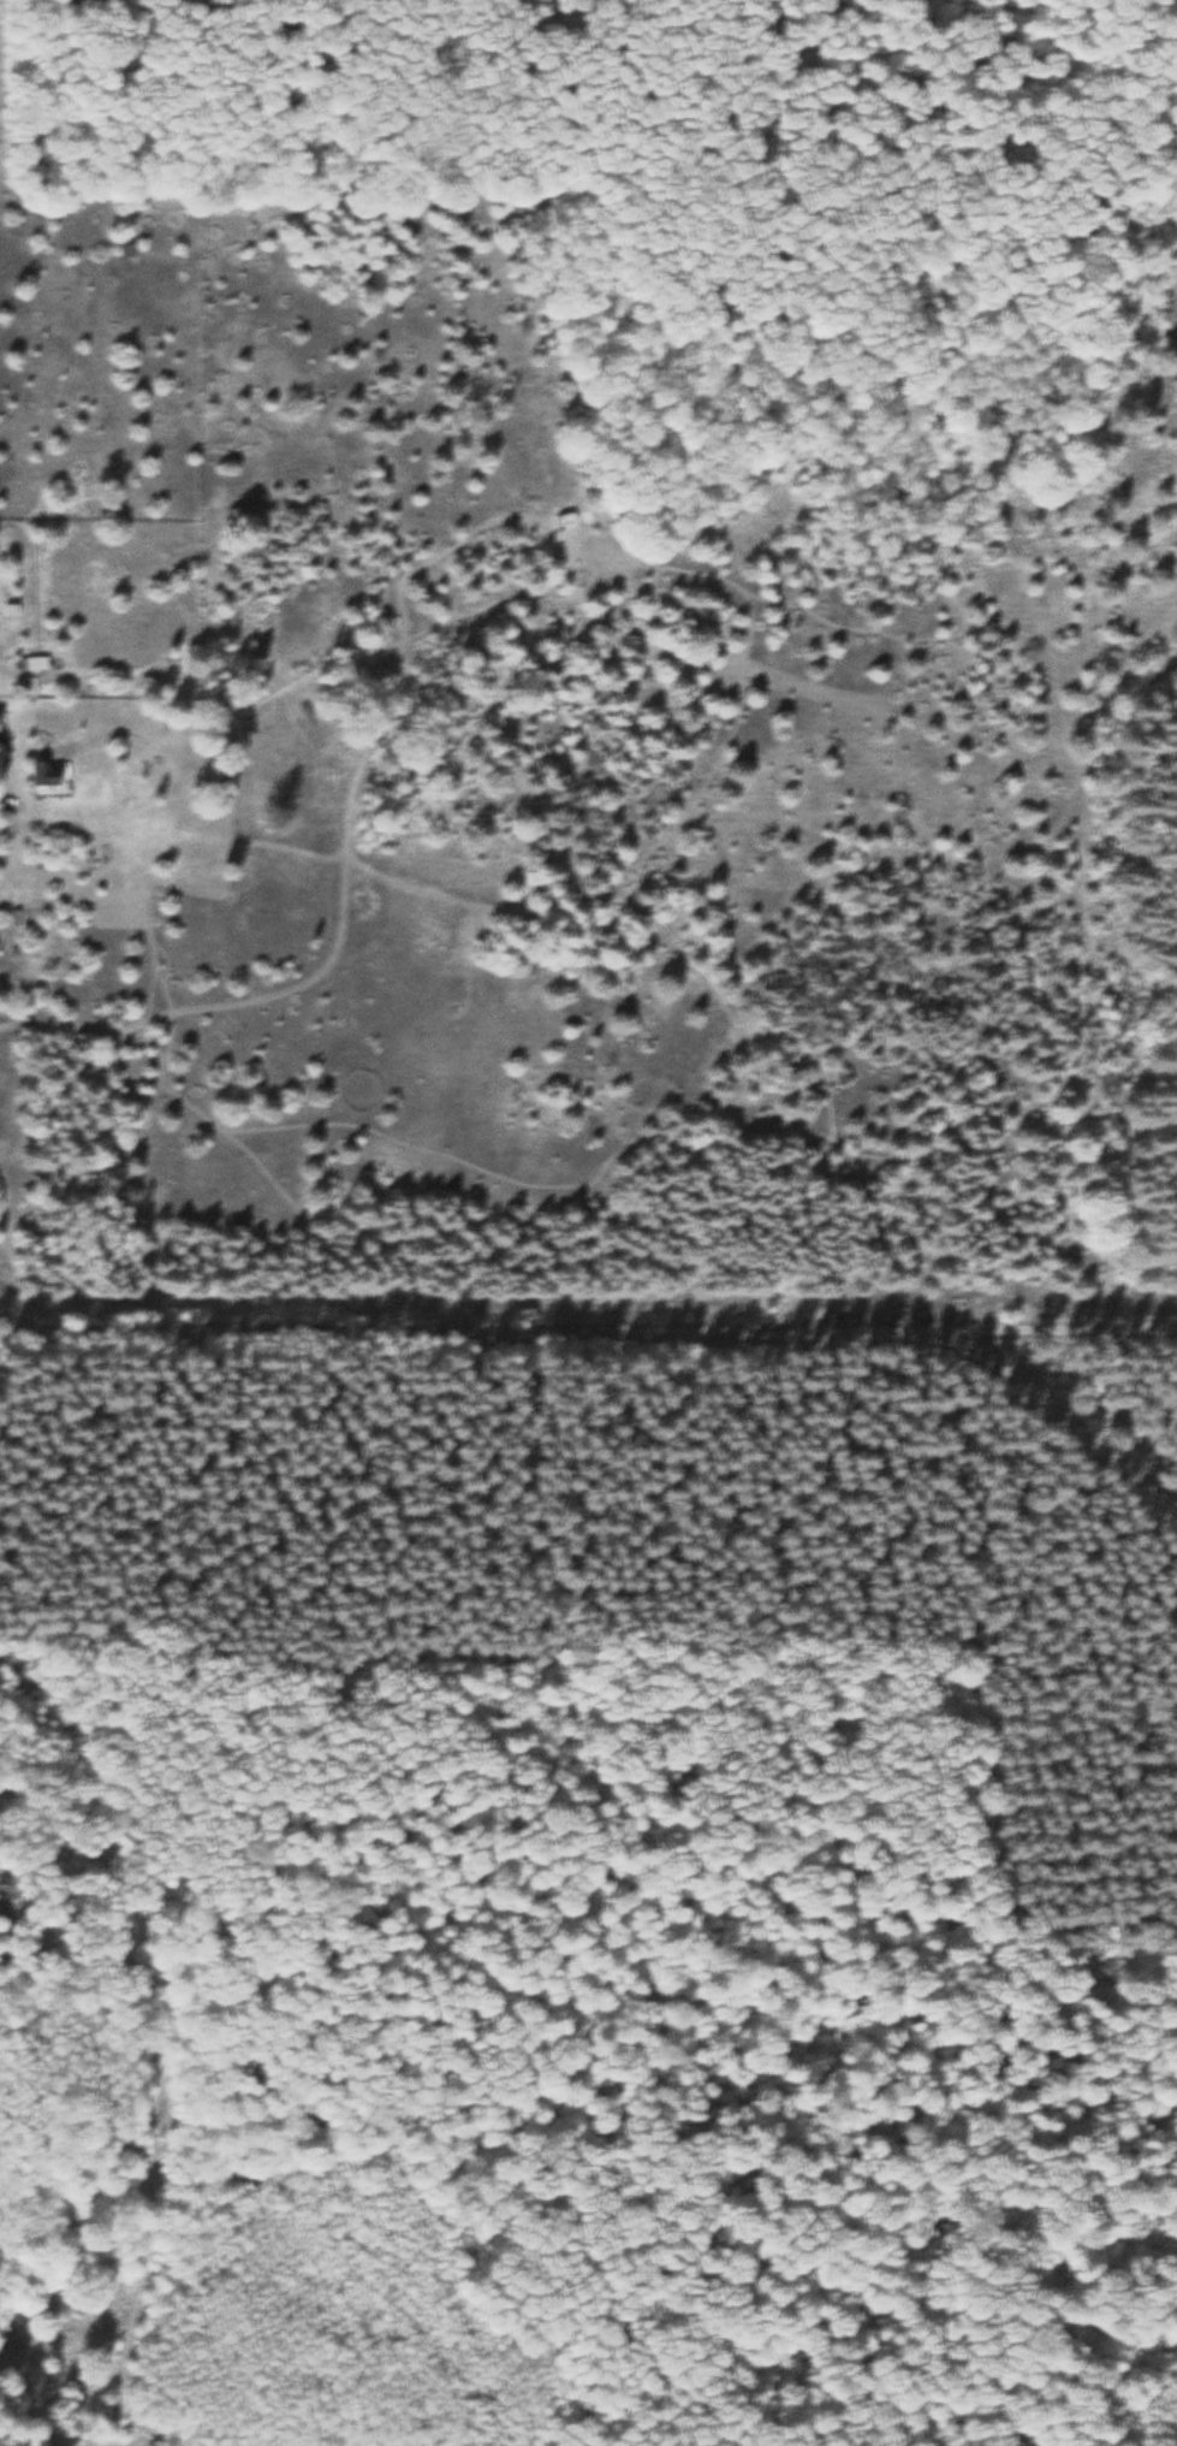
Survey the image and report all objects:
building: (28, 664)
building: (41, 774)
road: (0, 900)
road: (616, 1328)
road: (1047, 1332)
road: (113, 1824)
road: (159, 1850)

